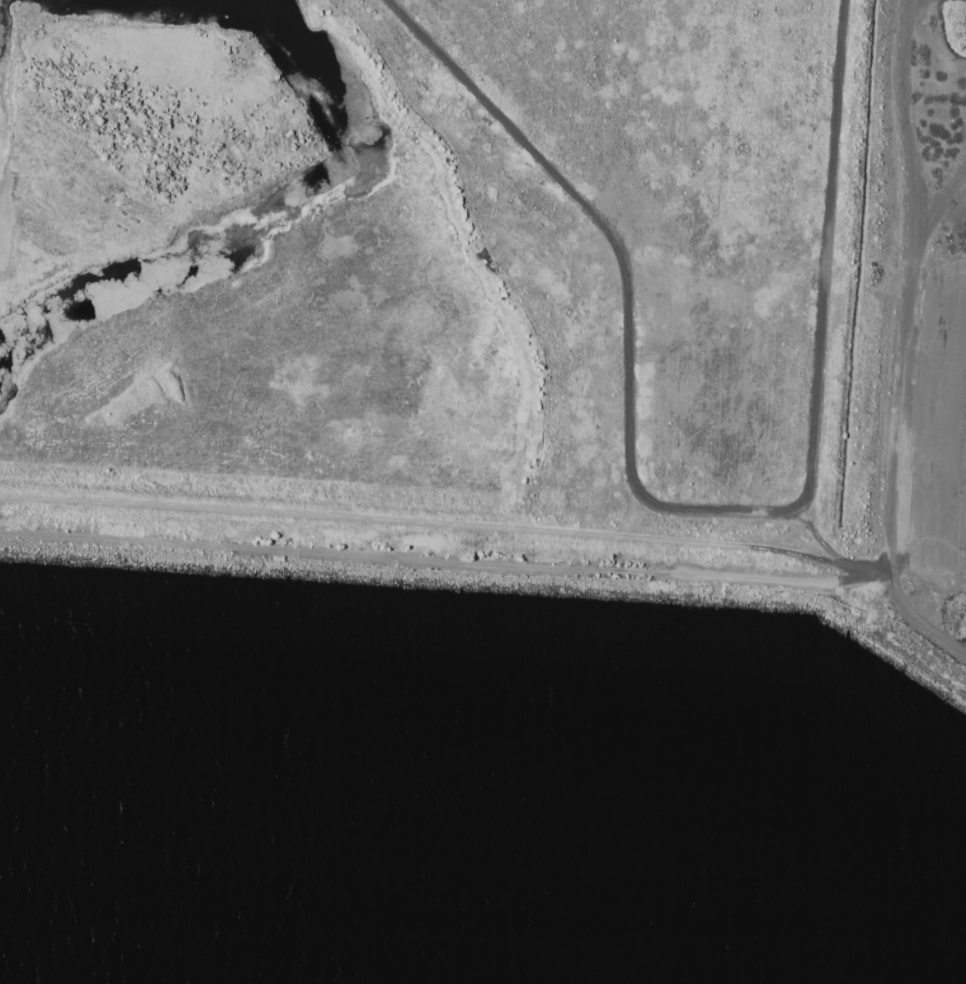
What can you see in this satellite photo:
road: (903, 345)
road: (447, 523)

